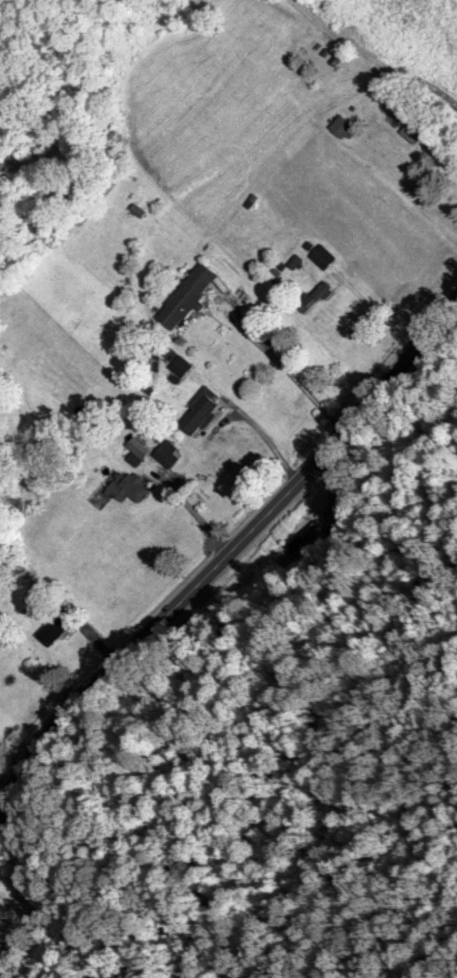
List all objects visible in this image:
building: (190, 290)
building: (168, 453)
building: (128, 484)
building: (310, 534)
road: (219, 568)

